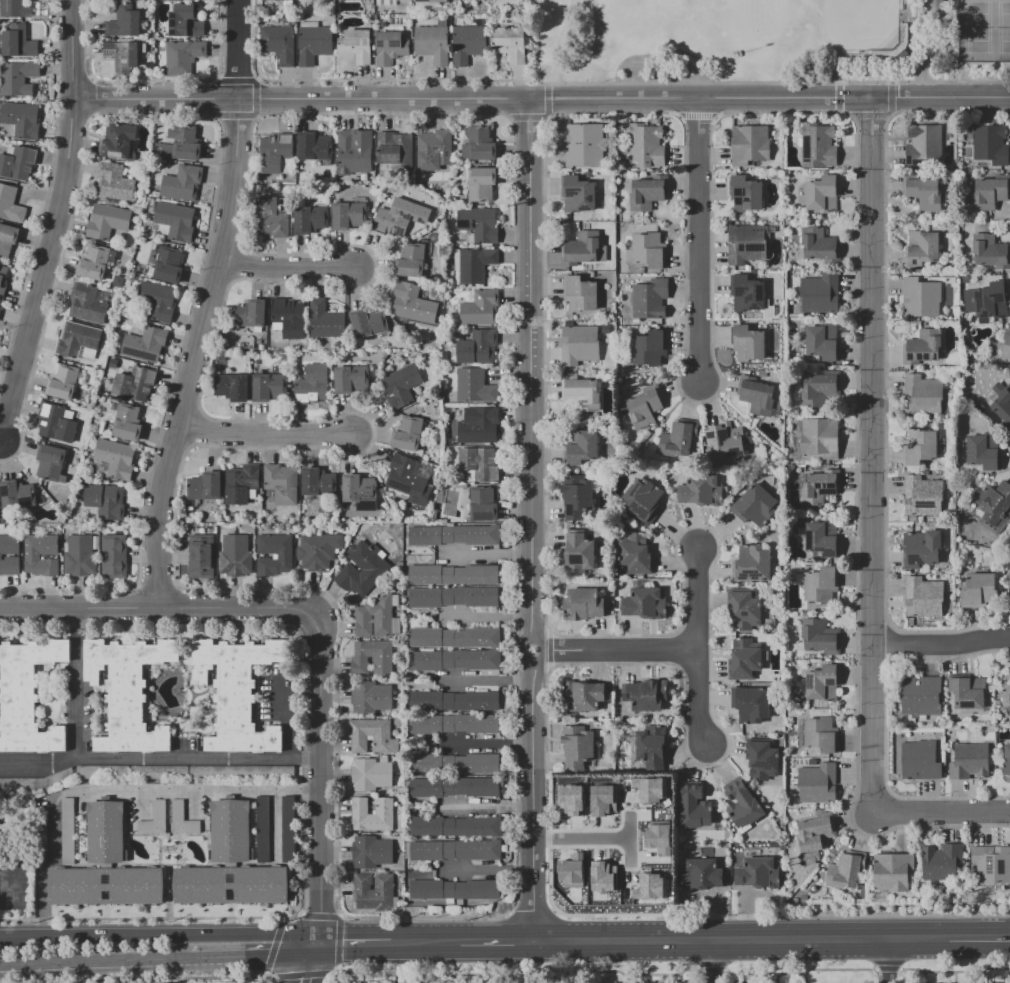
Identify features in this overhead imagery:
building: (277, 0)
building: (484, 0)
building: (484, 0)
building: (431, 1)
park: (749, 1)
building: (380, 2)
building: (15, 8)
building: (936, 12)
building: (185, 20)
building: (124, 21)
park: (834, 23)
park: (983, 30)
park: (772, 40)
building: (18, 41)
building: (314, 42)
building: (432, 42)
building: (279, 43)
building: (468, 43)
building: (510, 43)
building: (356, 45)
building: (390, 47)
road: (919, 48)
road: (75, 49)
road: (559, 50)
building: (122, 53)
building: (183, 56)
building: (18, 77)
road: (837, 81)
road: (543, 101)
building: (21, 119)
building: (118, 141)
building: (924, 142)
building: (180, 143)
building: (481, 144)
building: (583, 144)
building: (749, 144)
building: (990, 144)
building: (645, 145)
building: (818, 145)
building: (314, 146)
building: (434, 147)
building: (395, 149)
building: (277, 154)
building: (353, 154)
building: (19, 164)
building: (114, 181)
building: (182, 183)
building: (481, 184)
building: (578, 193)
building: (823, 193)
building: (924, 193)
building: (646, 194)
building: (745, 194)
building: (989, 194)
building: (10, 204)
building: (349, 216)
building: (400, 216)
building: (271, 219)
building: (310, 219)
building: (176, 220)
building: (108, 221)
building: (479, 224)
building: (8, 239)
road: (698, 242)
building: (746, 243)
building: (817, 244)
building: (922, 248)
building: (583, 249)
building: (649, 250)
building: (989, 250)
building: (411, 260)
building: (94, 263)
building: (169, 264)
building: (476, 264)
road: (284, 265)
road: (43, 269)
building: (3, 280)
building: (579, 294)
building: (747, 294)
building: (820, 294)
building: (649, 297)
building: (920, 297)
building: (986, 301)
building: (155, 302)
road: (207, 302)
building: (413, 303)
building: (87, 304)
building: (0, 307)
building: (480, 308)
building: (250, 314)
building: (288, 317)
building: (325, 320)
building: (368, 323)
building: (78, 341)
building: (823, 341)
building: (145, 344)
building: (580, 344)
building: (748, 344)
building: (1006, 344)
building: (477, 347)
building: (650, 348)
building: (923, 348)
building: (351, 379)
building: (63, 382)
building: (136, 383)
building: (312, 384)
building: (401, 385)
building: (474, 386)
building: (232, 387)
building: (269, 387)
building: (582, 390)
building: (821, 390)
building: (922, 395)
building: (762, 398)
building: (644, 407)
building: (1001, 409)
building: (127, 423)
building: (55, 424)
building: (480, 427)
building: (408, 434)
road: (266, 435)
building: (820, 437)
road: (0, 439)
building: (676, 440)
building: (725, 444)
building: (581, 446)
building: (920, 446)
building: (981, 453)
road: (874, 456)
building: (116, 458)
building: (50, 462)
building: (479, 463)
building: (409, 479)
building: (317, 482)
building: (282, 483)
building: (241, 484)
building: (819, 485)
building: (205, 486)
building: (359, 488)
building: (700, 490)
building: (17, 494)
building: (922, 496)
building: (577, 499)
building: (105, 500)
building: (642, 500)
building: (482, 503)
building: (755, 505)
building: (994, 506)
road: (535, 520)
building: (454, 535)
building: (825, 538)
building: (921, 548)
building: (318, 550)
road: (487, 552)
building: (636, 553)
building: (40, 554)
building: (580, 554)
building: (1, 555)
building: (274, 555)
building: (114, 556)
building: (236, 556)
building: (81, 557)
building: (201, 557)
building: (751, 563)
building: (362, 568)
building: (453, 574)
building: (822, 585)
building: (1009, 588)
building: (978, 589)
building: (454, 596)
building: (923, 597)
road: (246, 600)
building: (645, 603)
building: (583, 604)
road: (81, 606)
building: (744, 610)
road: (488, 615)
building: (376, 618)
building: (454, 637)
building: (821, 637)
road: (943, 646)
road: (698, 649)
road: (617, 653)
building: (454, 660)
building: (744, 660)
building: (382, 666)
road: (489, 679)
building: (823, 682)
road: (77, 683)
building: (127, 692)
building: (236, 692)
building: (967, 692)
building: (646, 694)
building: (920, 694)
building: (27, 695)
building: (585, 695)
building: (1006, 695)
building: (370, 697)
building: (456, 700)
building: (750, 704)
building: (453, 723)
building: (821, 734)
building: (358, 736)
road: (489, 743)
building: (577, 745)
building: (651, 746)
road: (160, 760)
building: (761, 760)
building: (1007, 760)
building: (920, 761)
building: (969, 761)
building: (425, 762)
building: (478, 763)
building: (102, 772)
building: (217, 772)
building: (268, 772)
building: (158, 773)
building: (371, 774)
road: (322, 780)
building: (36, 781)
building: (817, 783)
building: (454, 787)
road: (116, 789)
building: (650, 789)
building: (570, 799)
building: (603, 799)
building: (624, 802)
road: (488, 804)
building: (742, 805)
building: (694, 807)
building: (588, 813)
building: (372, 815)
road: (943, 817)
building: (182, 819)
building: (155, 820)
building: (287, 826)
building: (455, 826)
building: (263, 827)
building: (68, 830)
building: (230, 830)
building: (815, 831)
building: (105, 832)
road: (588, 838)
building: (657, 838)
road: (627, 840)
building: (453, 849)
building: (371, 851)
building: (810, 857)
building: (639, 861)
building: (941, 861)
building: (991, 864)
road: (488, 869)
building: (571, 870)
building: (845, 871)
building: (591, 872)
building: (892, 872)
building: (757, 873)
building: (702, 874)
building: (231, 884)
building: (105, 885)
building: (649, 886)
building: (454, 889)
building: (374, 891)
road: (161, 933)
road: (979, 938)
road: (740, 939)
road: (495, 940)
road: (425, 941)
road: (356, 942)
road: (256, 960)
road: (713, 961)
road: (890, 961)
road: (310, 962)
road: (94, 964)
building: (536, 982)

